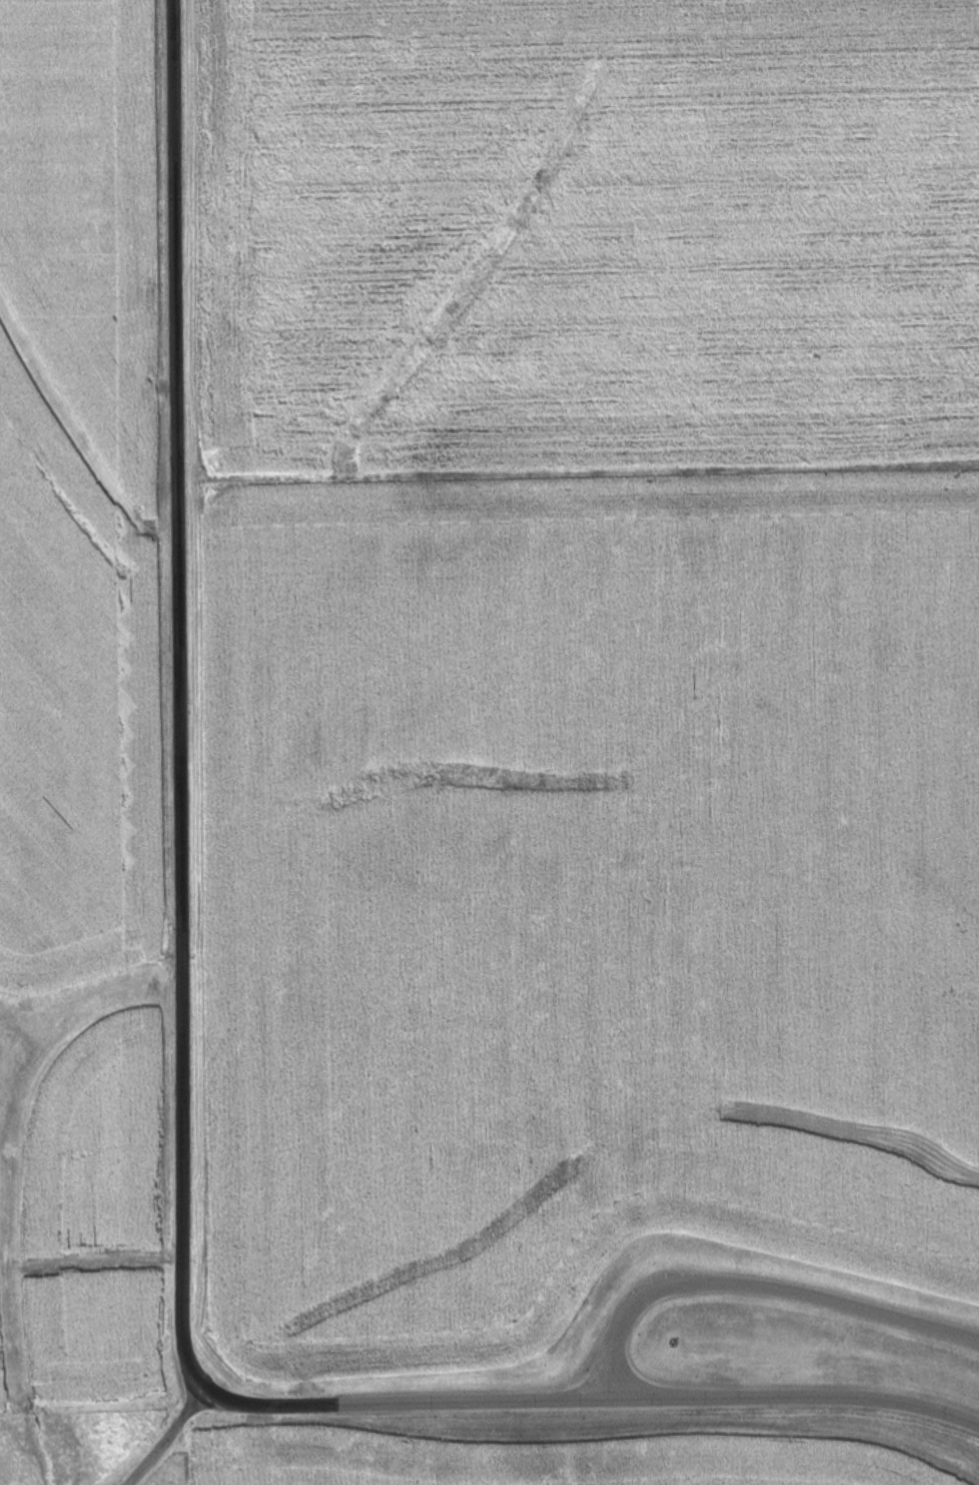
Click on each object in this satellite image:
road: (179, 1089)
road: (757, 1289)
road: (162, 1439)

